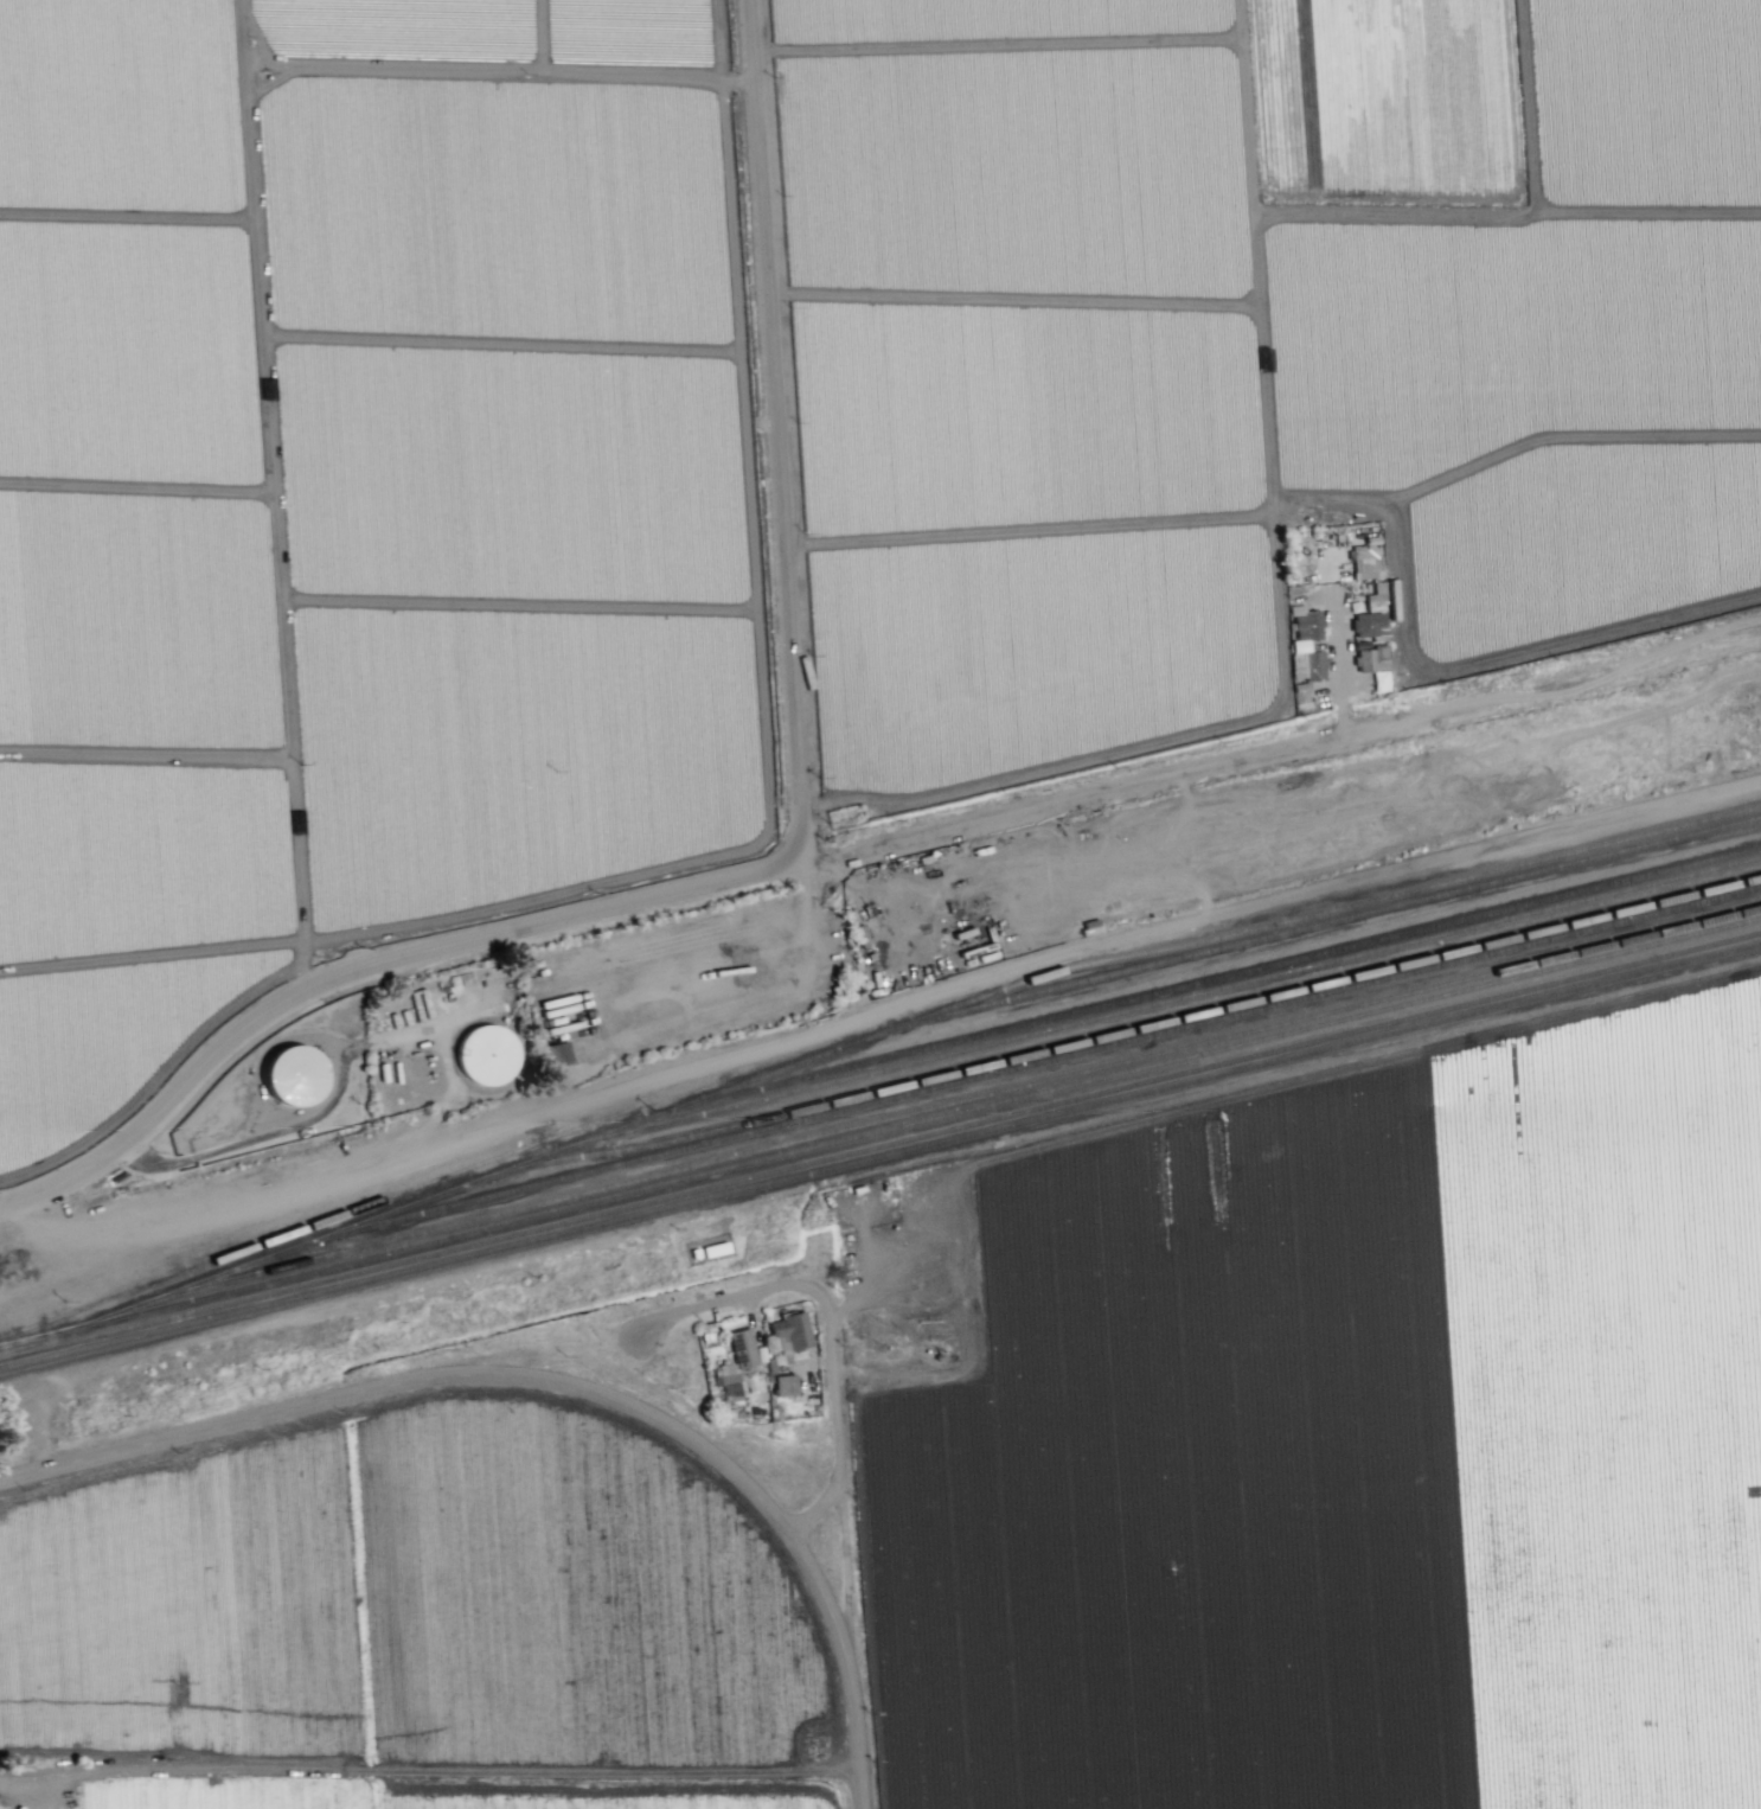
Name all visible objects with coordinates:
road: (776, 430)
crop: (802, 442)
building: (1365, 562)
building: (1365, 624)
building: (1307, 625)
building: (1295, 663)
building: (1313, 665)
building: (1372, 665)
road: (1340, 667)
road: (1285, 756)
railway: (1350, 906)
railway: (1210, 948)
road: (370, 964)
railway: (1180, 987)
railway: (1128, 1010)
road: (882, 1011)
railway: (1039, 1053)
building: (485, 1054)
building: (558, 1054)
water tower: (486, 1055)
building: (295, 1074)
railway: (965, 1081)
road: (331, 1108)
railway: (894, 1117)
railway: (879, 1131)
railway: (880, 1146)
railway: (879, 1156)
railway: (357, 1208)
railway: (2, 1258)
road: (712, 1306)
building: (789, 1334)
railway: (14, 1343)
building: (741, 1348)
road: (558, 1383)
building: (783, 1385)
road: (830, 1407)
crop: (1046, 1509)
road: (430, 1772)

